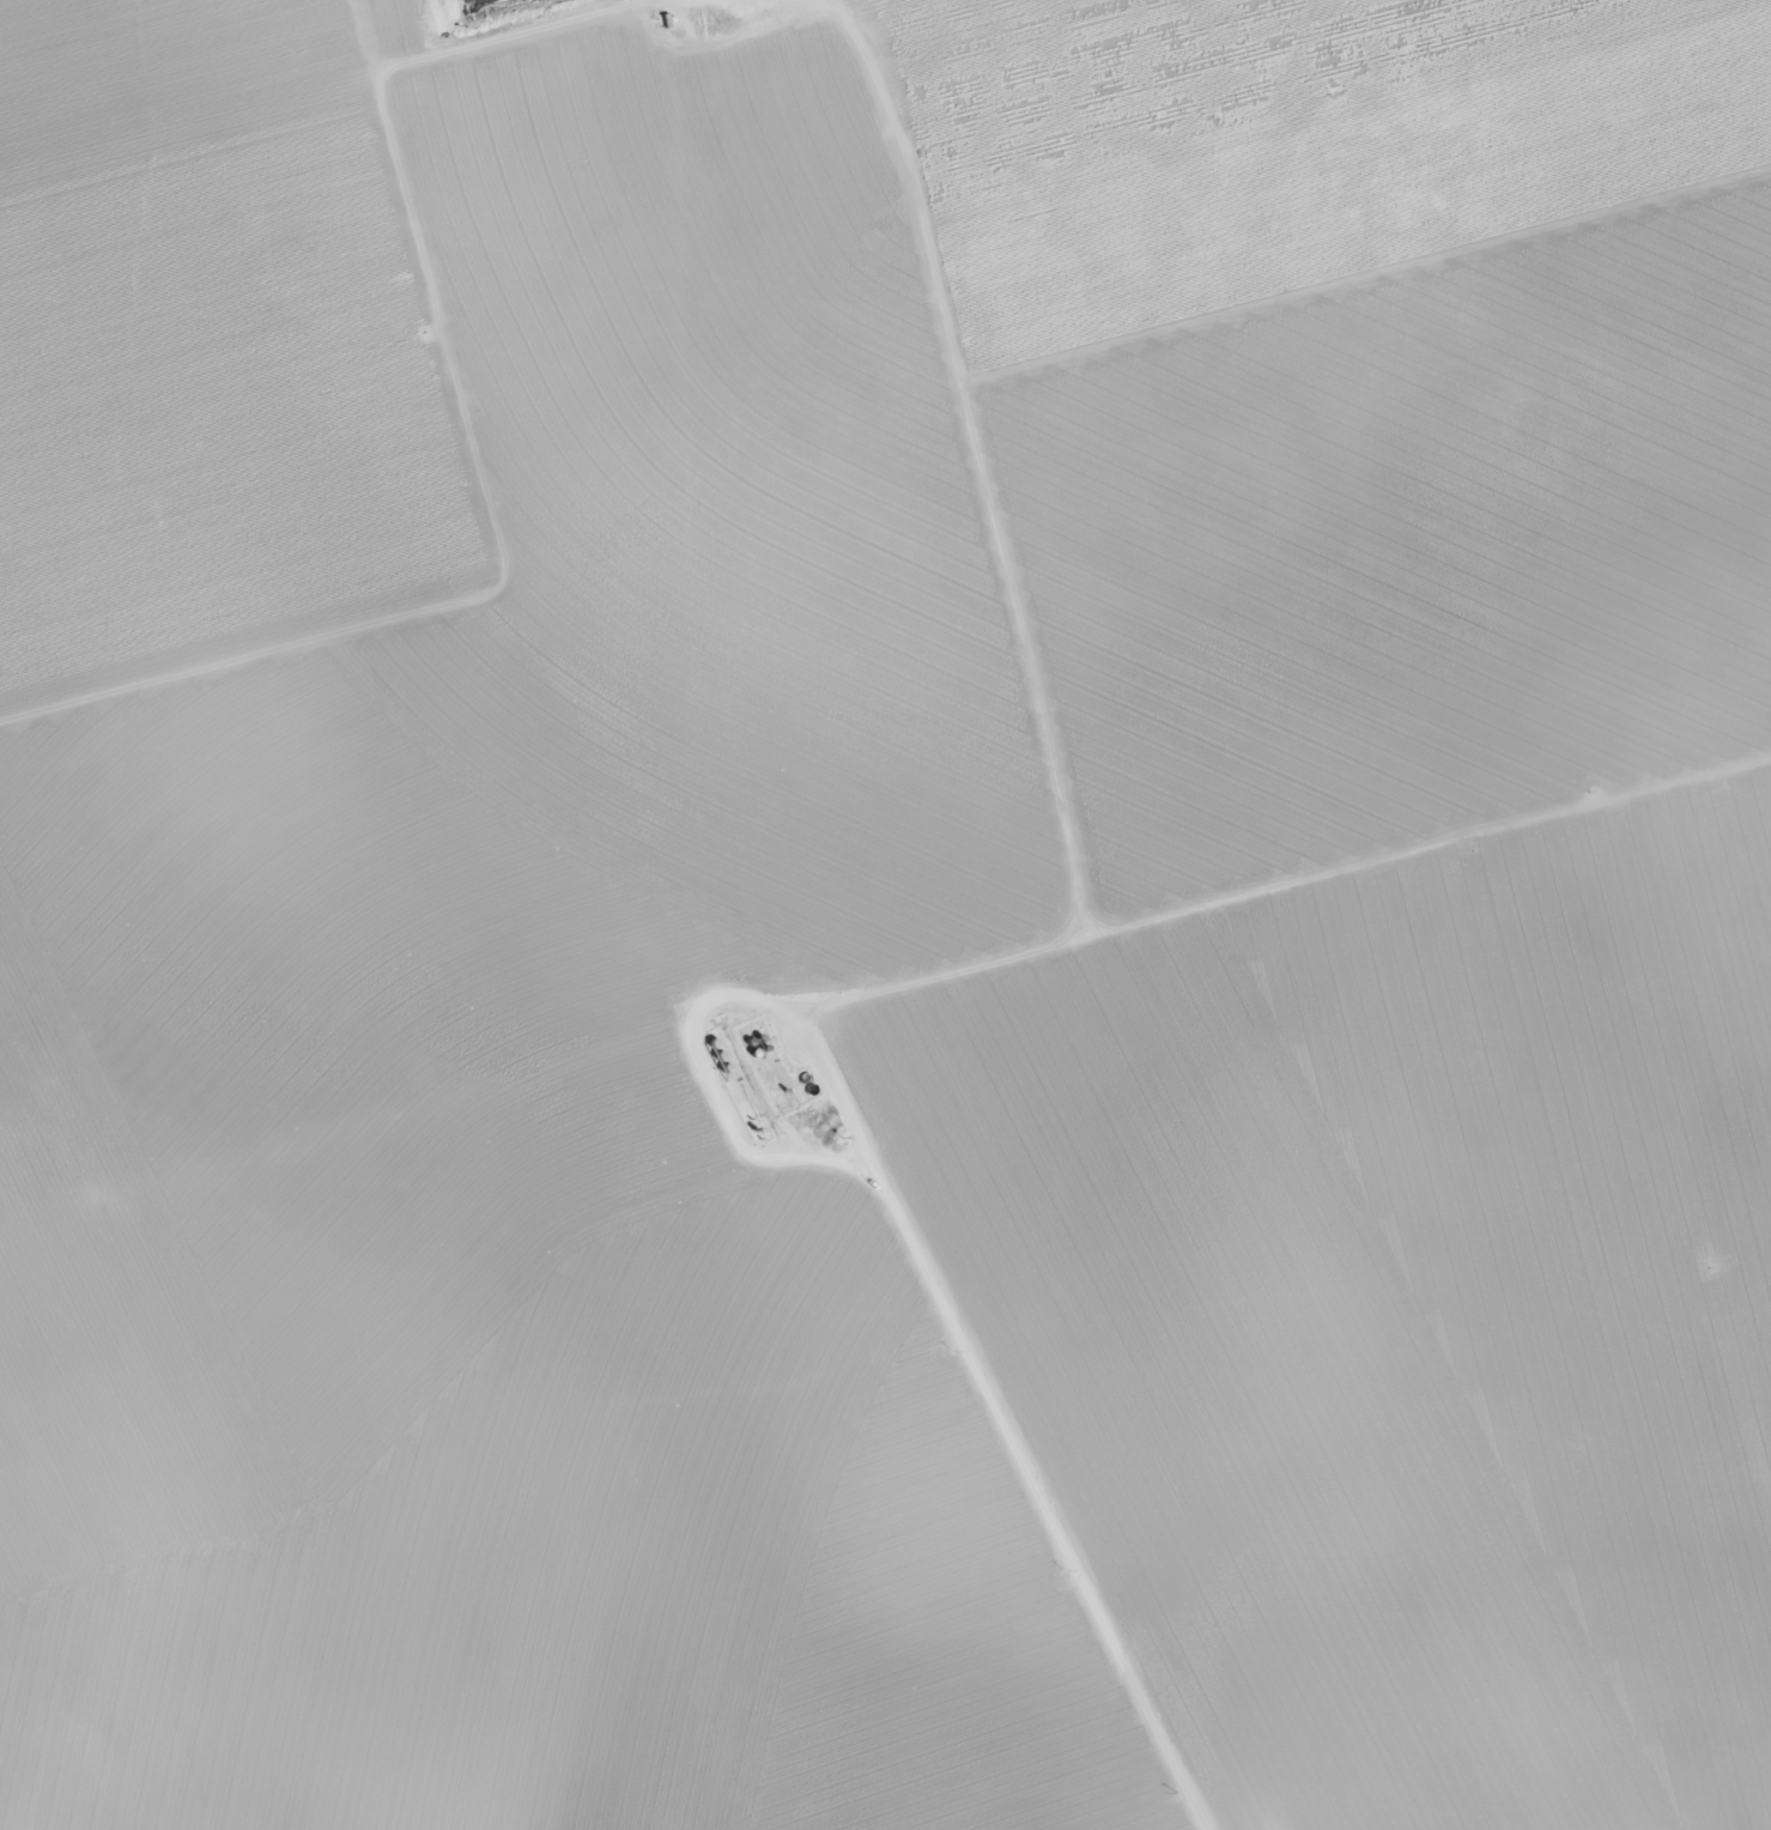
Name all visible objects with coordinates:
road: (873, 1029)

